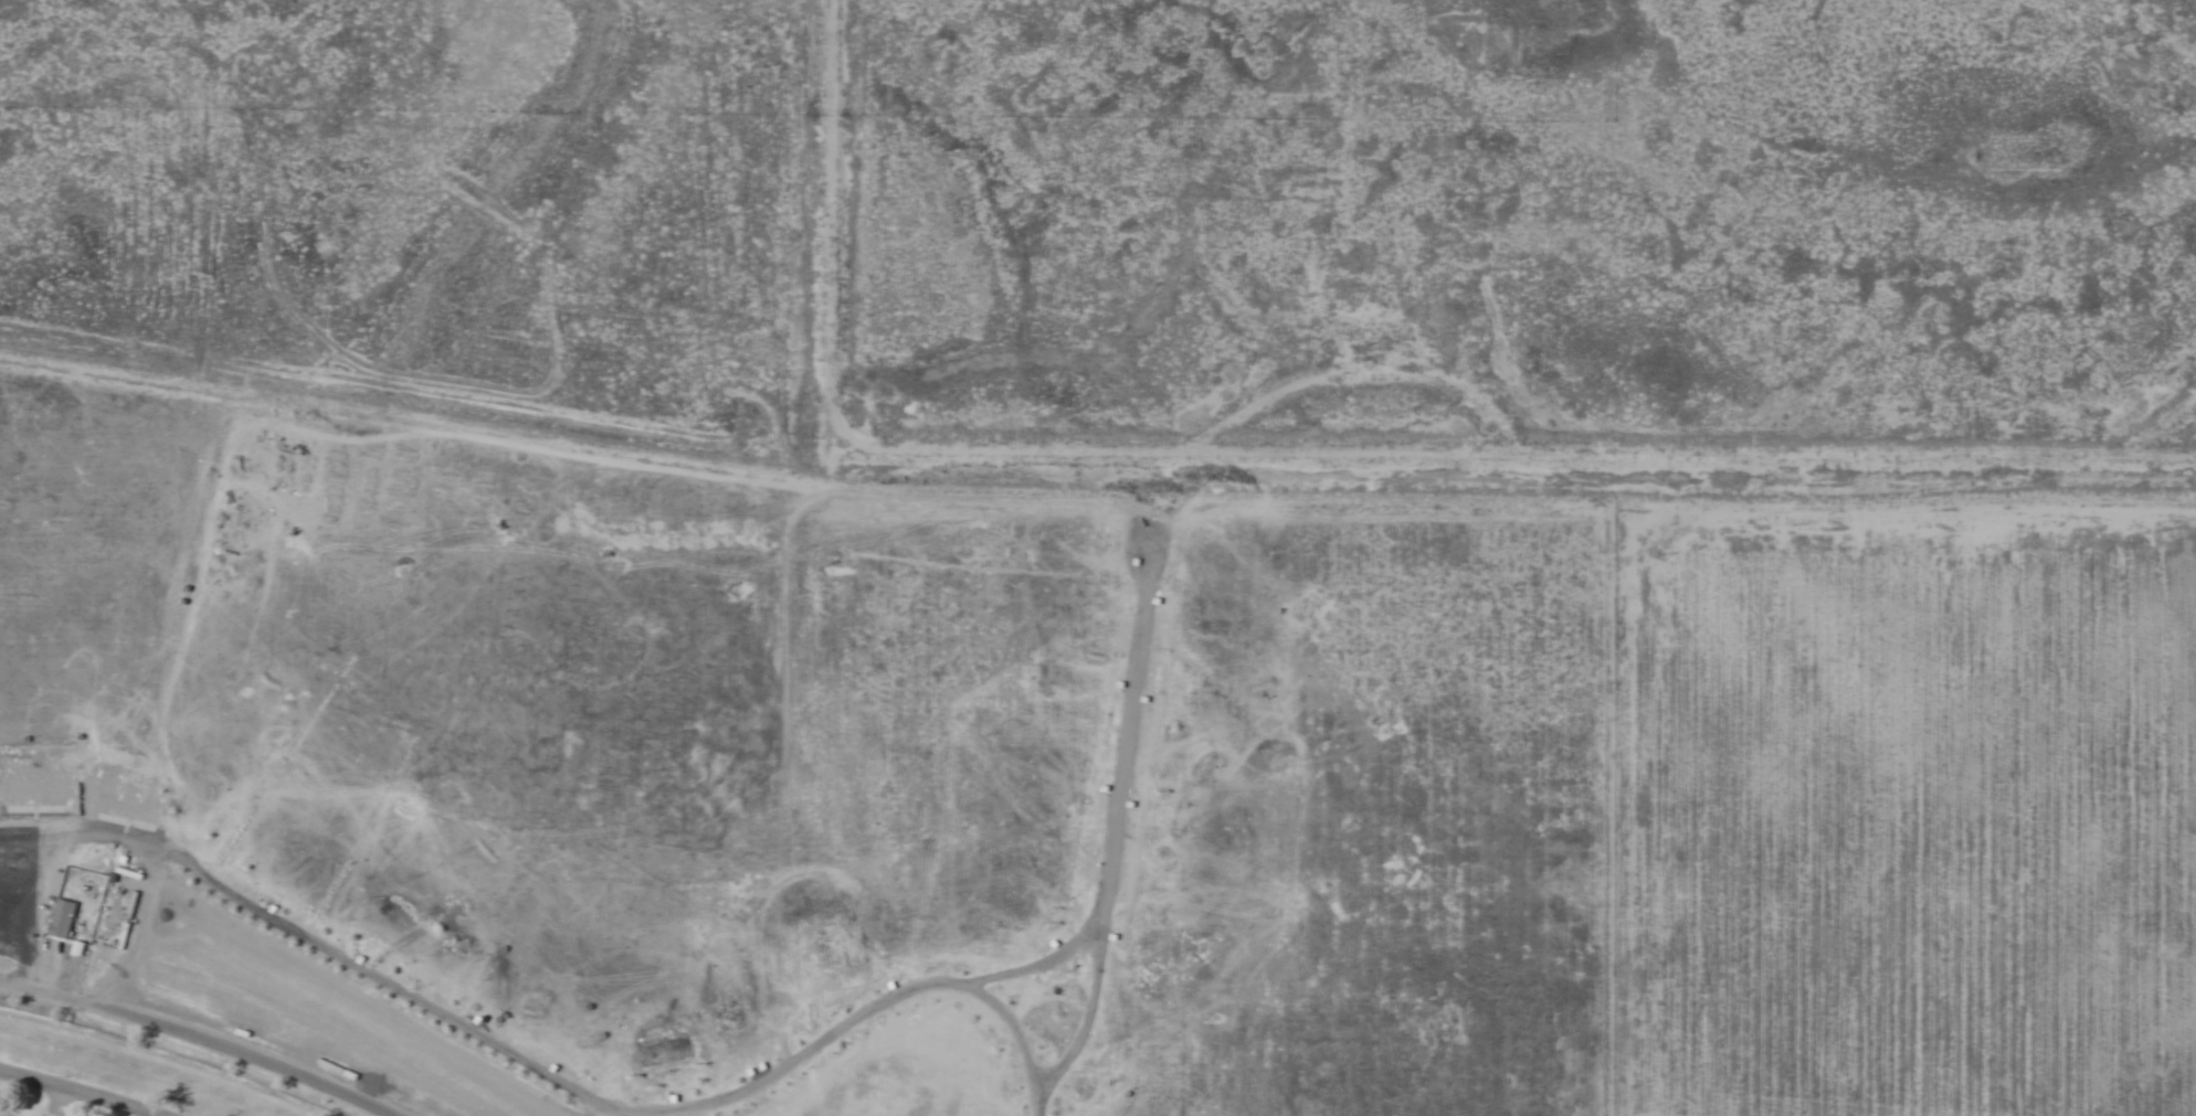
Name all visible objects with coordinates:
road: (1296, 458)
building: (64, 918)
road: (204, 1034)
road: (94, 1086)
road: (56, 1097)

